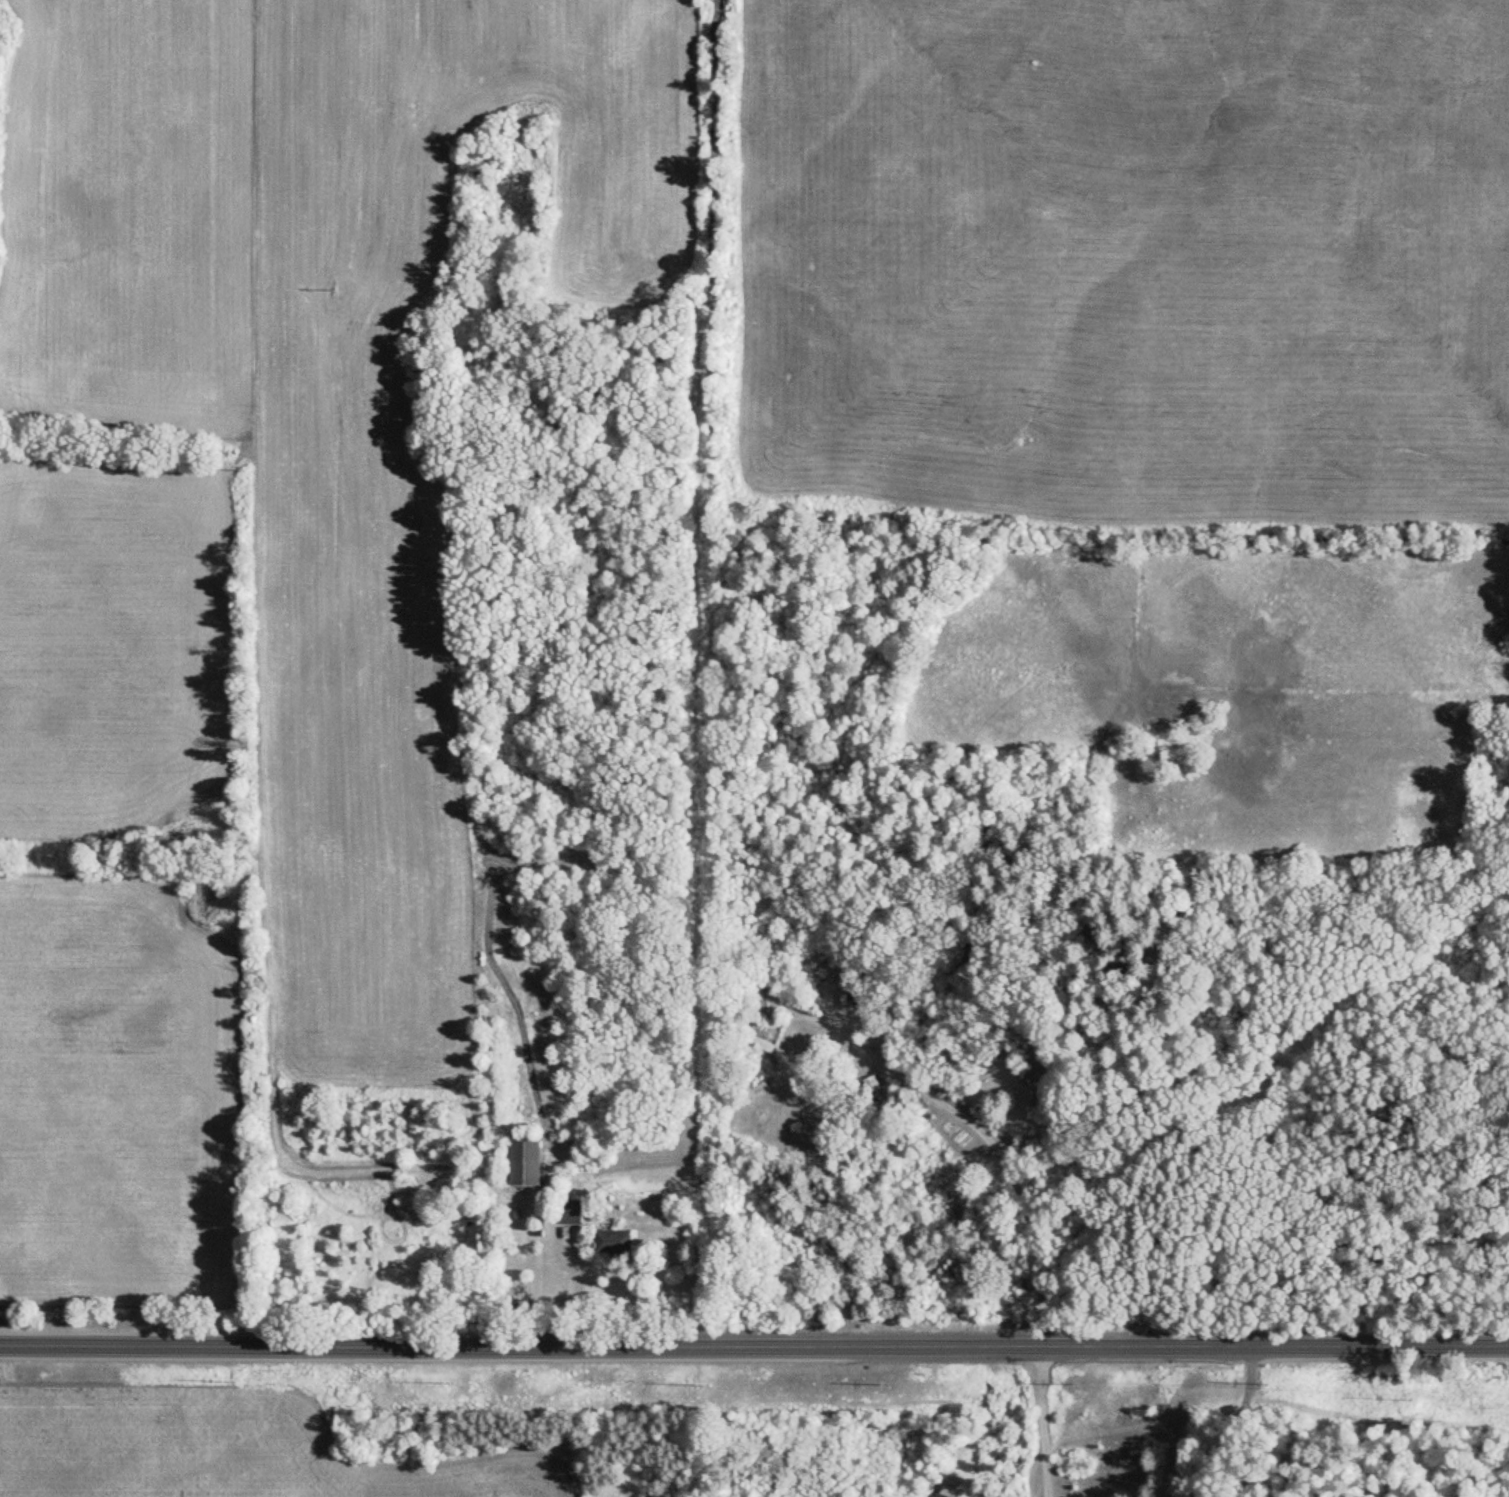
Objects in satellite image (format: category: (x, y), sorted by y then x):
building: (869, 1085)
road: (990, 1131)
building: (522, 1161)
building: (569, 1216)
building: (609, 1242)
road: (576, 1285)
road: (754, 1348)
road: (1044, 1421)

